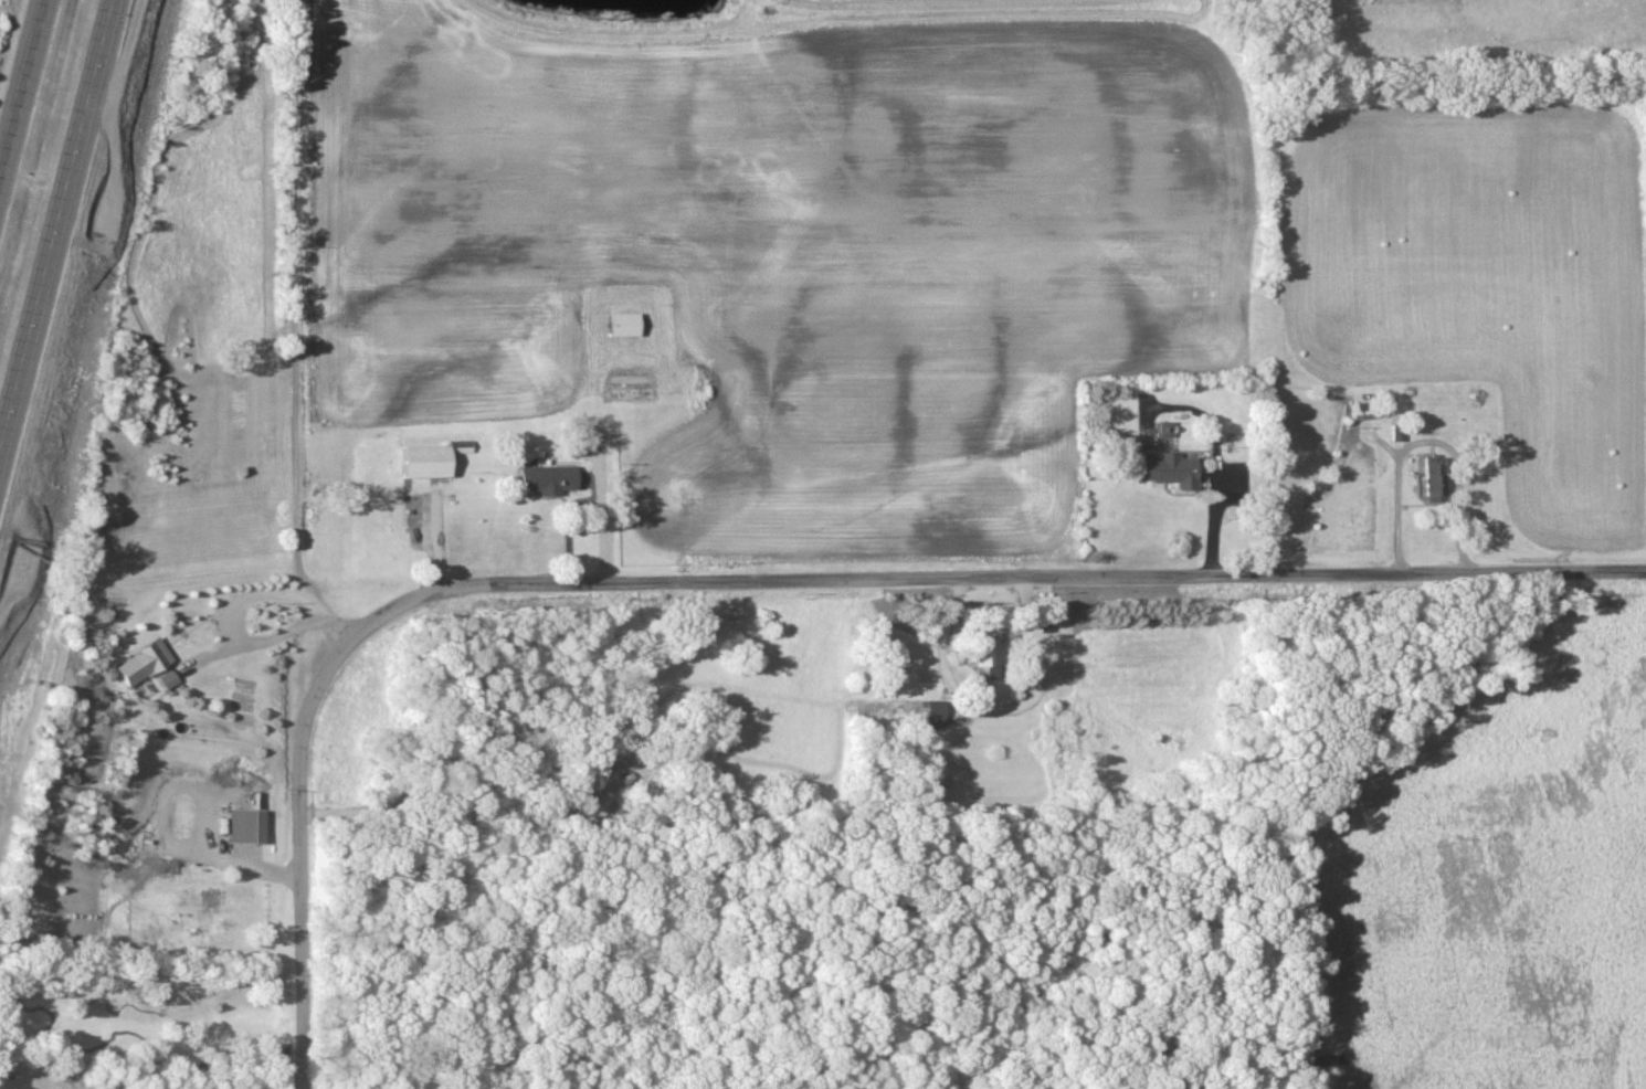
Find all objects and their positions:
road: (20, 78)
road: (54, 211)
building: (622, 327)
building: (1163, 432)
building: (462, 448)
building: (424, 464)
building: (1168, 473)
building: (547, 482)
building: (1433, 482)
road: (993, 579)
road: (236, 642)
building: (143, 666)
building: (168, 683)
building: (935, 718)
building: (246, 828)
road: (299, 854)

